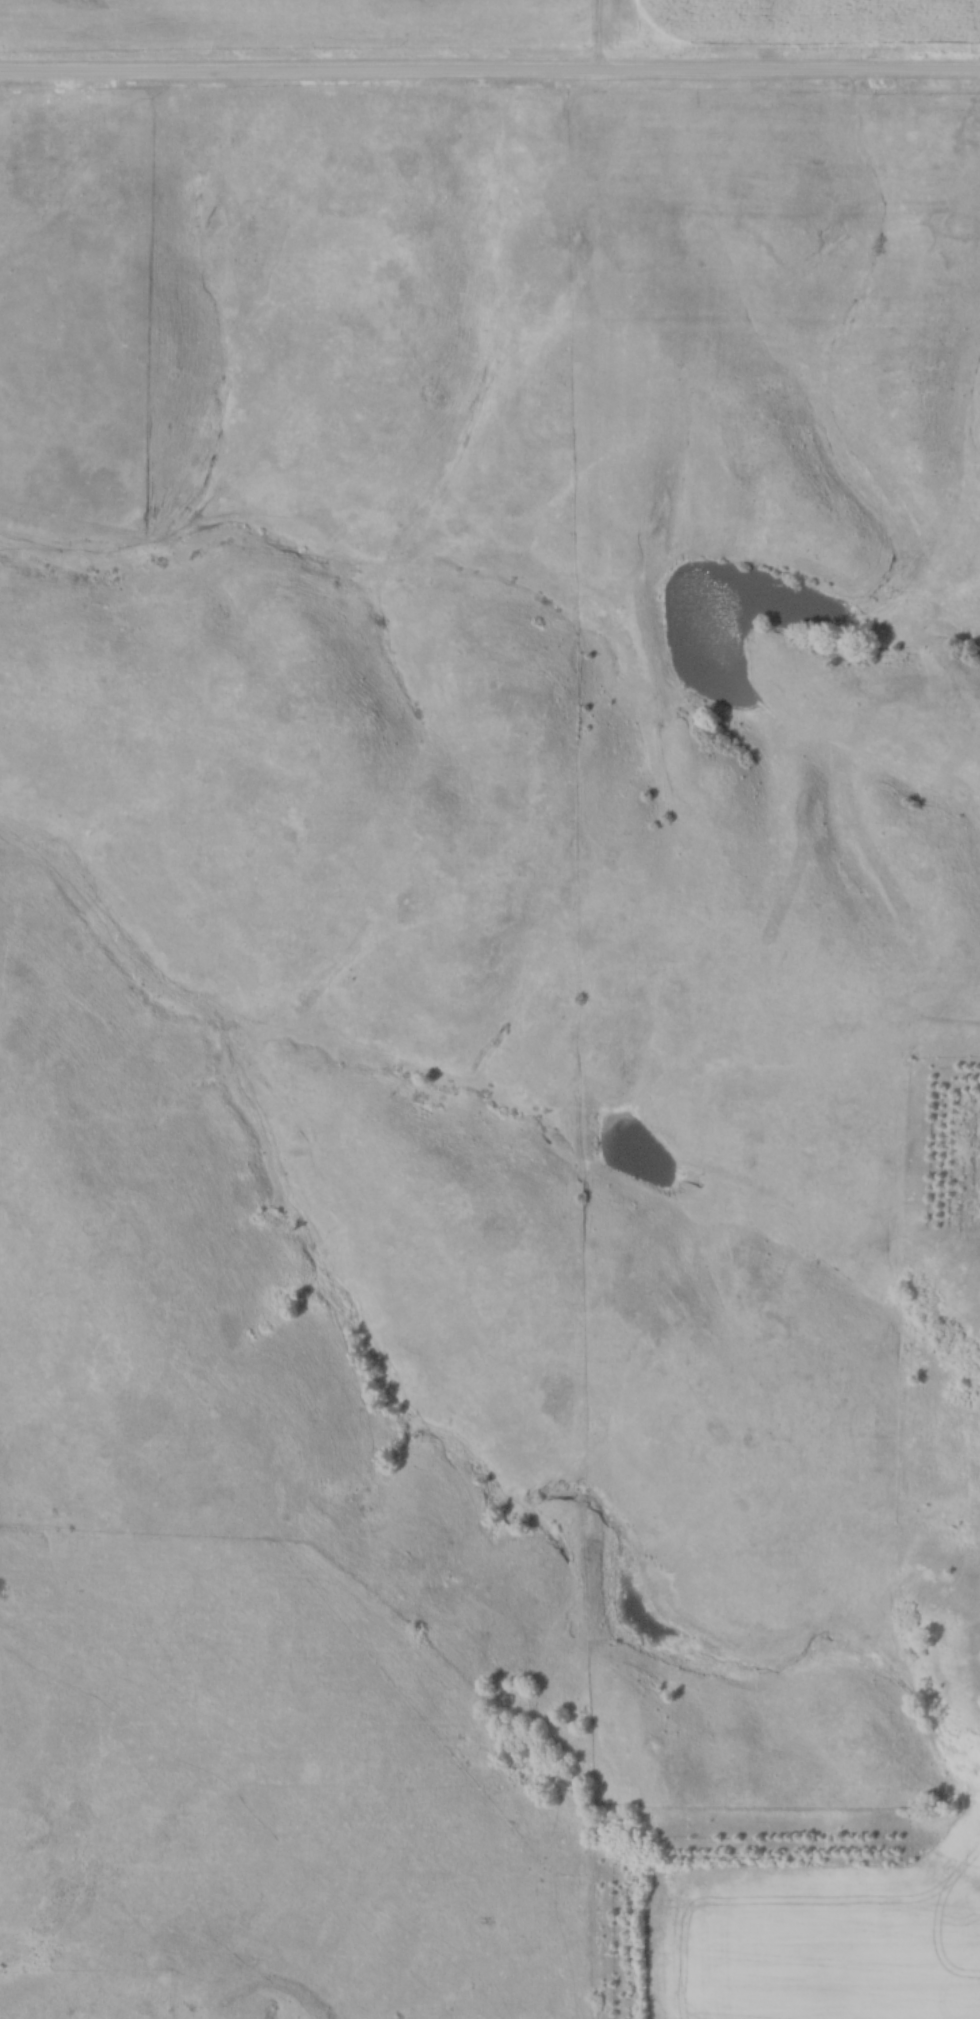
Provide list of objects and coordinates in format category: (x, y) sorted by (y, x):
road: (489, 73)

